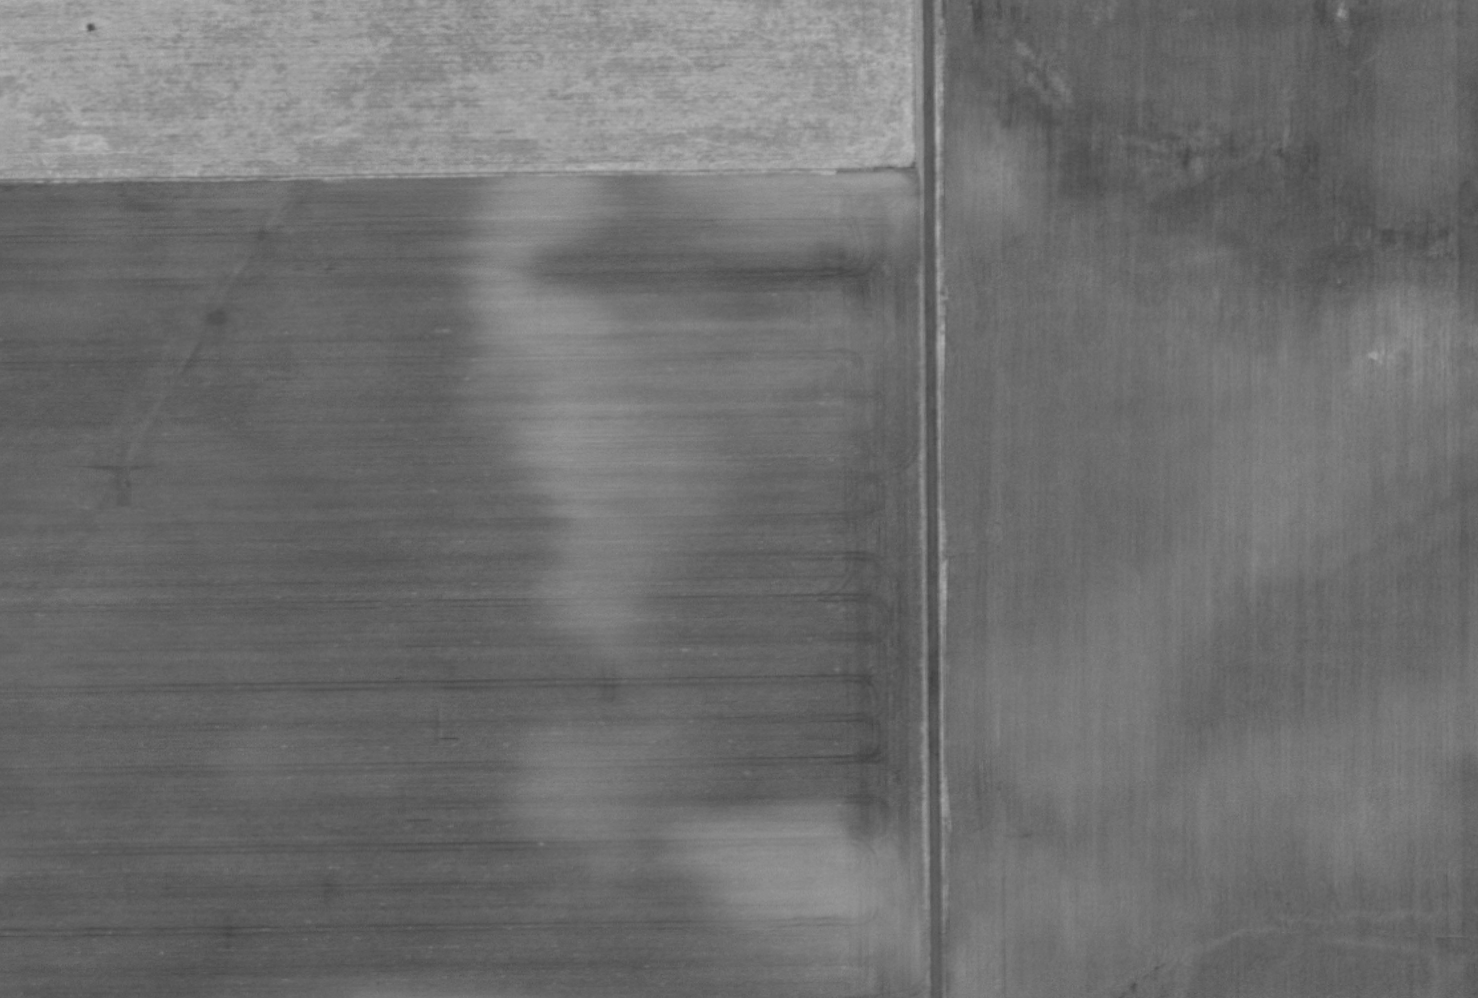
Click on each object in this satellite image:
road: (933, 499)

